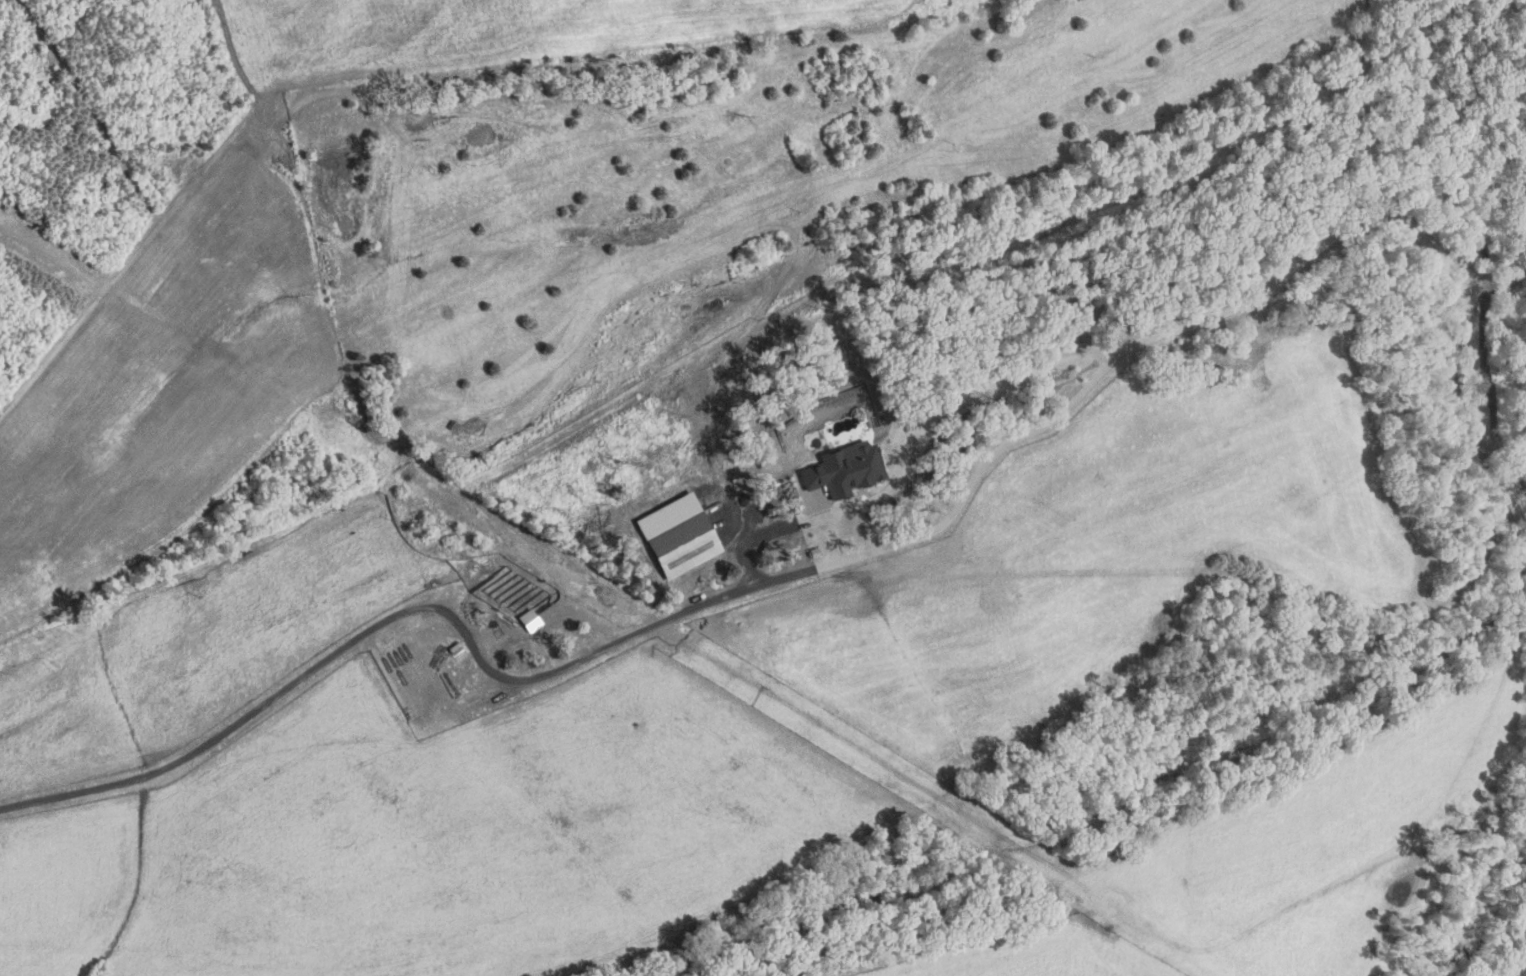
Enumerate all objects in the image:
road: (136, 247)
road: (935, 409)
building: (844, 468)
building: (683, 544)
building: (813, 552)
road: (784, 576)
building: (530, 619)
building: (450, 642)

